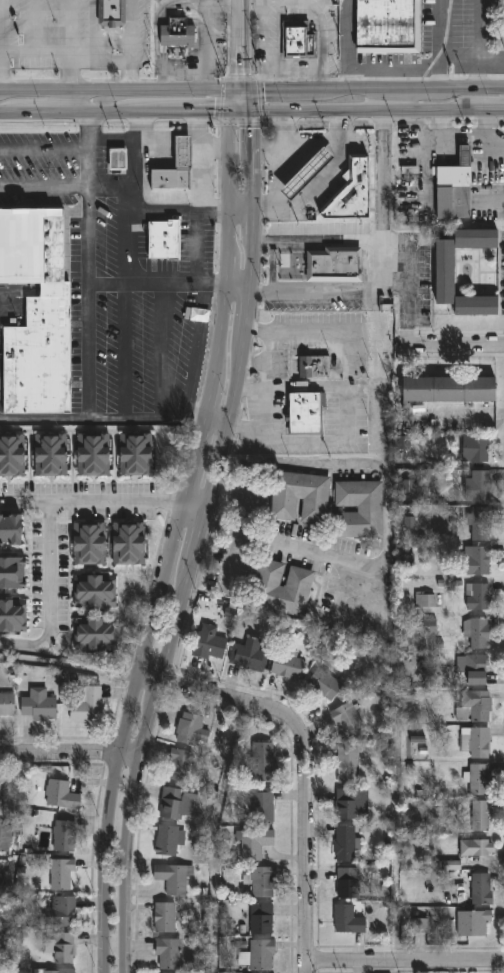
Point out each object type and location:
road: (178, 1)
road: (258, 2)
road: (157, 9)
building: (113, 13)
road: (34, 27)
road: (70, 27)
building: (391, 27)
road: (323, 28)
road: (93, 29)
road: (131, 30)
parking lot: (44, 34)
building: (178, 37)
building: (300, 41)
road: (239, 46)
road: (349, 46)
road: (437, 46)
road: (476, 46)
road: (1, 48)
road: (207, 48)
road: (278, 48)
road: (66, 55)
road: (100, 59)
road: (182, 70)
road: (131, 78)
traffic signals: (239, 94)
road: (251, 94)
road: (252, 115)
traffic signals: (228, 116)
traffic signals: (249, 116)
building: (185, 151)
road: (43, 152)
parking lot: (39, 158)
building: (117, 159)
building: (310, 172)
gas station: (310, 172)
road: (381, 172)
building: (457, 187)
building: (355, 191)
road: (310, 192)
road: (110, 193)
gas station: (352, 196)
road: (176, 214)
parking lot: (105, 218)
parking lot: (319, 229)
building: (477, 238)
building: (166, 239)
road: (317, 240)
road: (197, 251)
road: (87, 258)
road: (374, 260)
building: (335, 266)
building: (445, 271)
parking lot: (413, 282)
road: (168, 287)
road: (334, 293)
building: (477, 305)
parking lot: (315, 306)
building: (35, 311)
road: (304, 333)
road: (451, 345)
road: (270, 349)
parking lot: (148, 351)
road: (127, 354)
road: (164, 354)
building: (315, 367)
building: (448, 387)
road: (210, 390)
road: (264, 395)
building: (307, 412)
road: (101, 422)
road: (334, 442)
building: (400, 442)
building: (481, 449)
building: (137, 453)
building: (52, 454)
building: (94, 454)
building: (13, 455)
building: (405, 486)
building: (482, 486)
building: (301, 497)
road: (21, 498)
building: (361, 509)
road: (192, 513)
road: (43, 522)
building: (409, 522)
building: (482, 523)
building: (11, 530)
road: (198, 534)
building: (90, 543)
building: (130, 543)
road: (286, 544)
building: (474, 560)
building: (407, 561)
building: (13, 573)
building: (285, 589)
building: (95, 591)
building: (478, 596)
building: (425, 600)
building: (14, 616)
building: (428, 626)
building: (478, 632)
building: (96, 634)
building: (210, 643)
building: (250, 655)
building: (288, 665)
building: (475, 668)
road: (149, 676)
road: (129, 679)
building: (325, 683)
building: (407, 697)
building: (7, 705)
building: (40, 705)
building: (88, 706)
building: (475, 706)
building: (348, 719)
building: (192, 730)
building: (476, 741)
road: (69, 752)
building: (264, 761)
building: (180, 765)
building: (350, 765)
road: (305, 776)
building: (478, 779)
building: (62, 795)
building: (176, 803)
building: (348, 804)
building: (263, 805)
building: (481, 815)
road: (105, 825)
building: (65, 836)
building: (5, 838)
building: (169, 840)
building: (255, 843)
building: (347, 844)
building: (478, 848)
building: (449, 865)
building: (0, 871)
building: (61, 874)
building: (174, 878)
building: (1, 880)
building: (262, 882)
building: (349, 883)
building: (482, 890)
building: (60, 912)
building: (166, 918)
building: (263, 919)
building: (350, 919)
building: (474, 922)
building: (420, 925)
building: (62, 948)
building: (260, 953)
building: (169, 954)
park: (5, 957)
road: (405, 959)
building: (59, 971)

